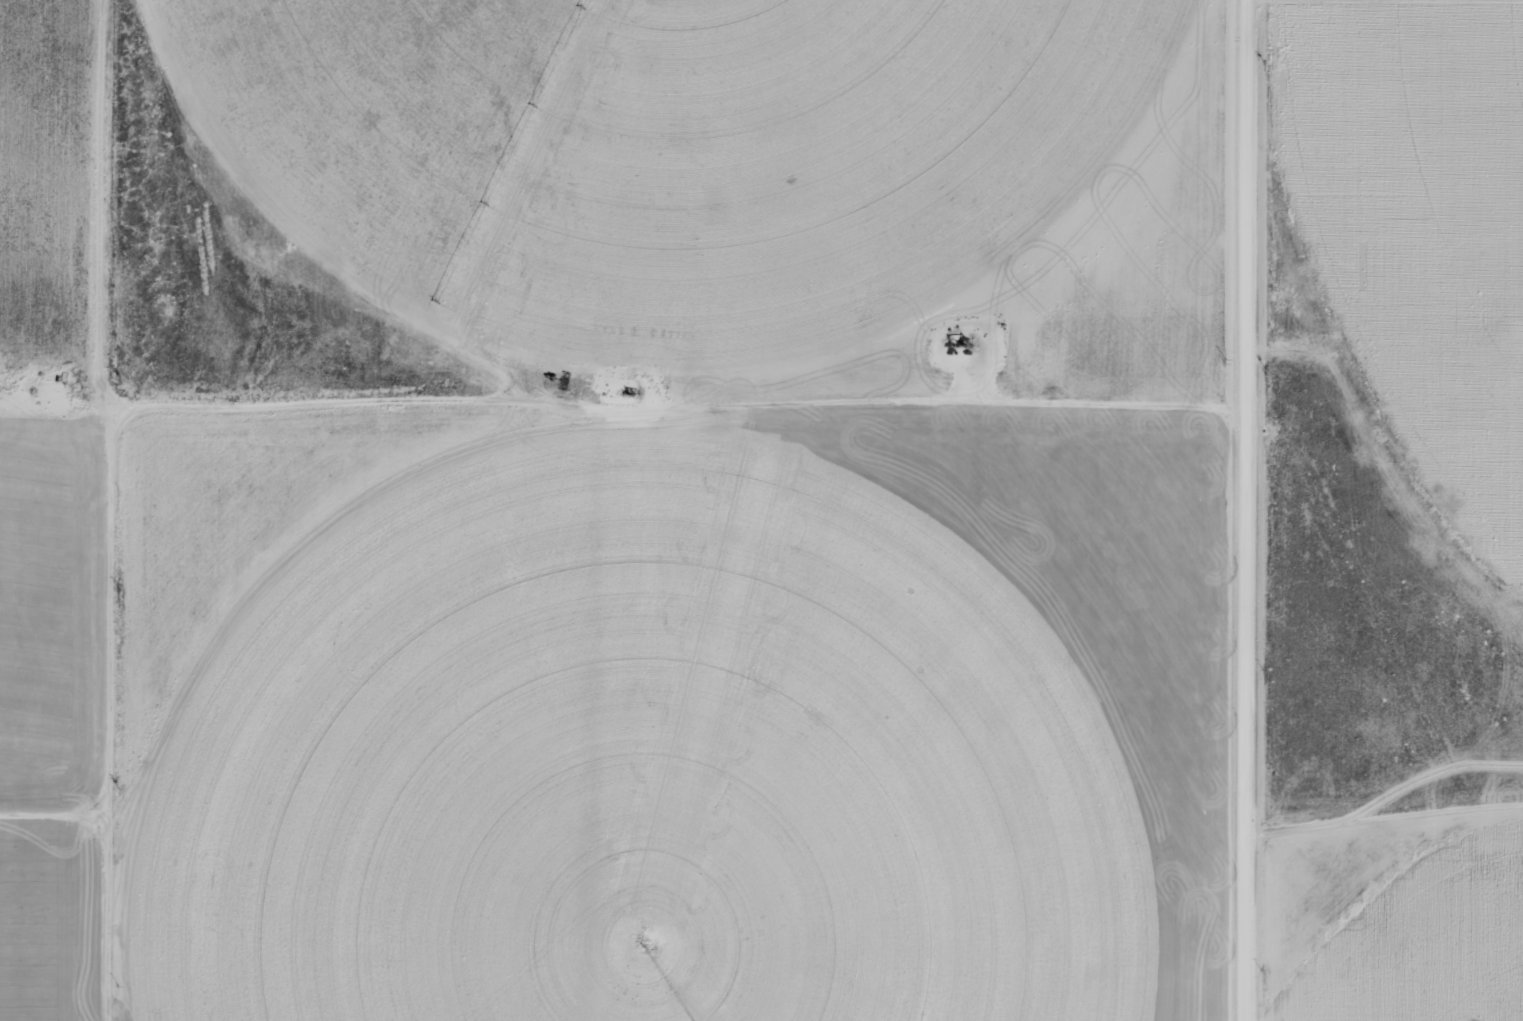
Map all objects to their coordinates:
petroleum well: (954, 345)
petroleum well: (633, 392)
road: (115, 510)
road: (1264, 510)

